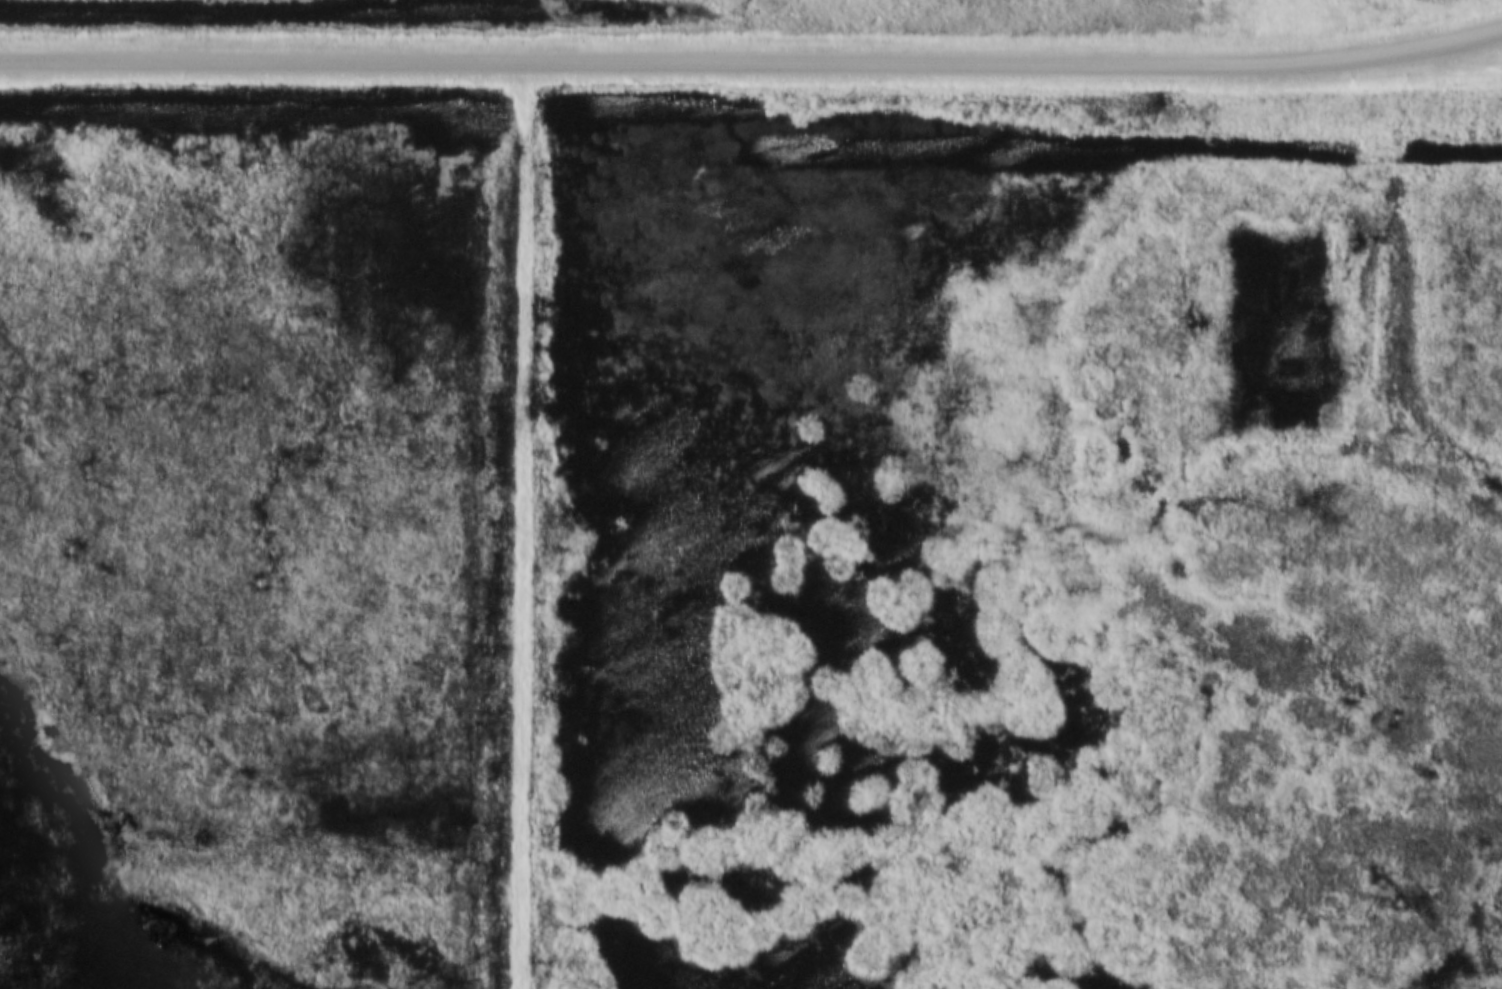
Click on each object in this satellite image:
road: (752, 60)
road: (520, 524)

